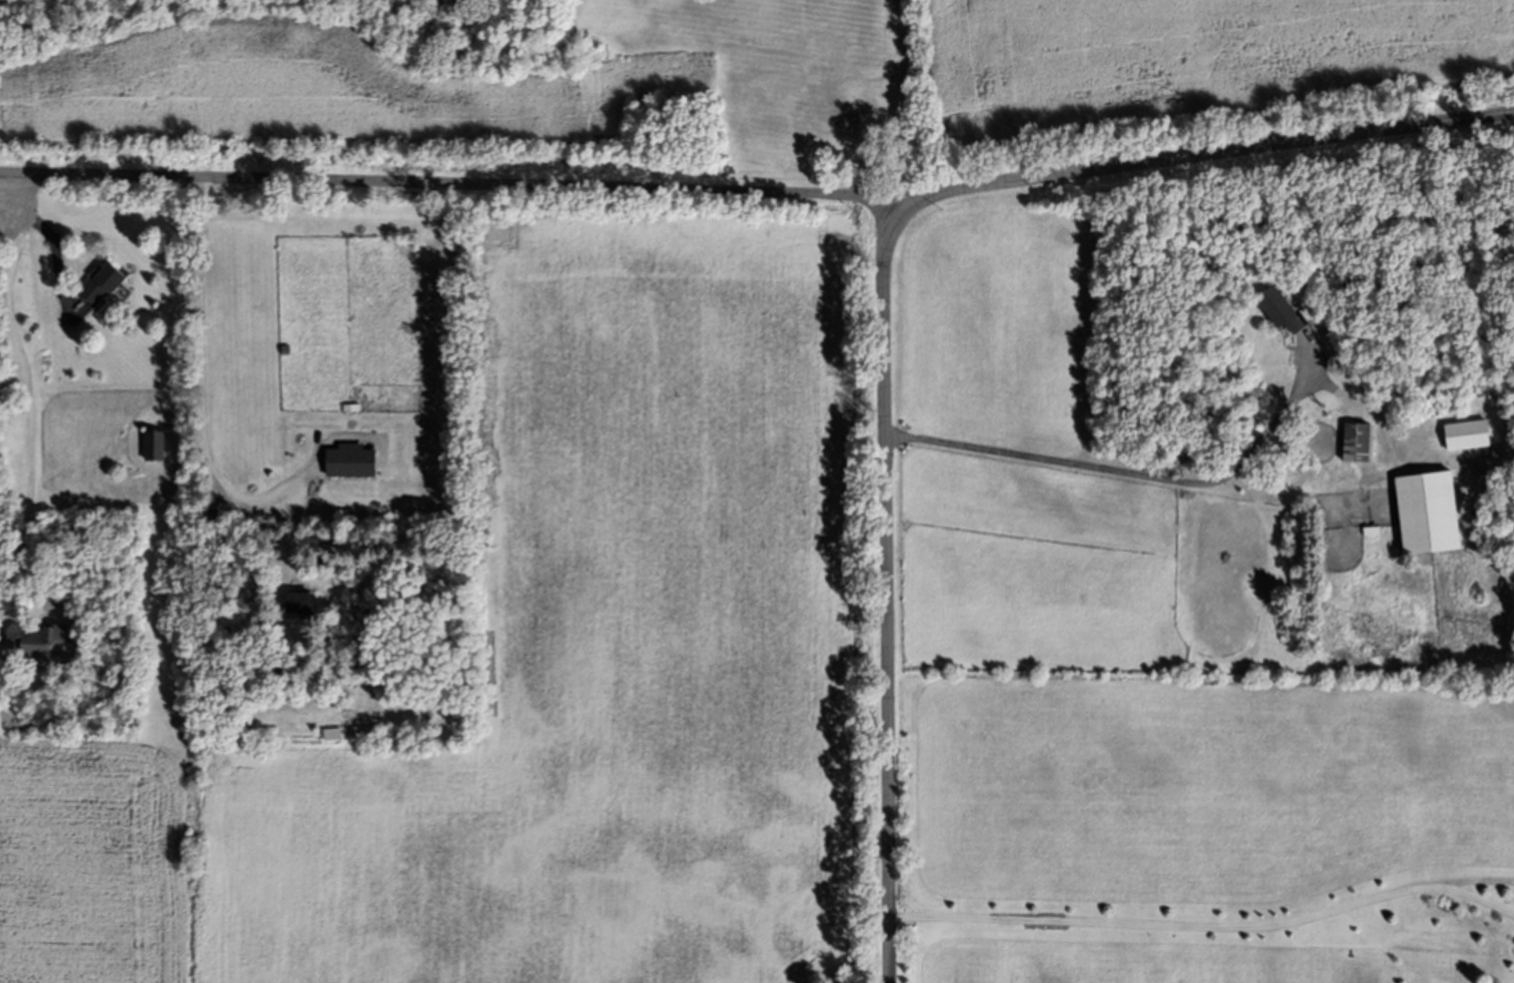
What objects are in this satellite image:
road: (1210, 152)
road: (2, 174)
road: (2, 177)
road: (455, 183)
road: (2, 192)
road: (48, 236)
building: (106, 282)
building: (1284, 310)
road: (205, 384)
road: (29, 397)
building: (1473, 435)
building: (1363, 442)
building: (158, 445)
building: (354, 461)
road: (1100, 470)
building: (1435, 514)
road: (886, 591)
building: (308, 602)
building: (41, 642)
crop: (556, 661)
building: (334, 733)
road: (1206, 930)

